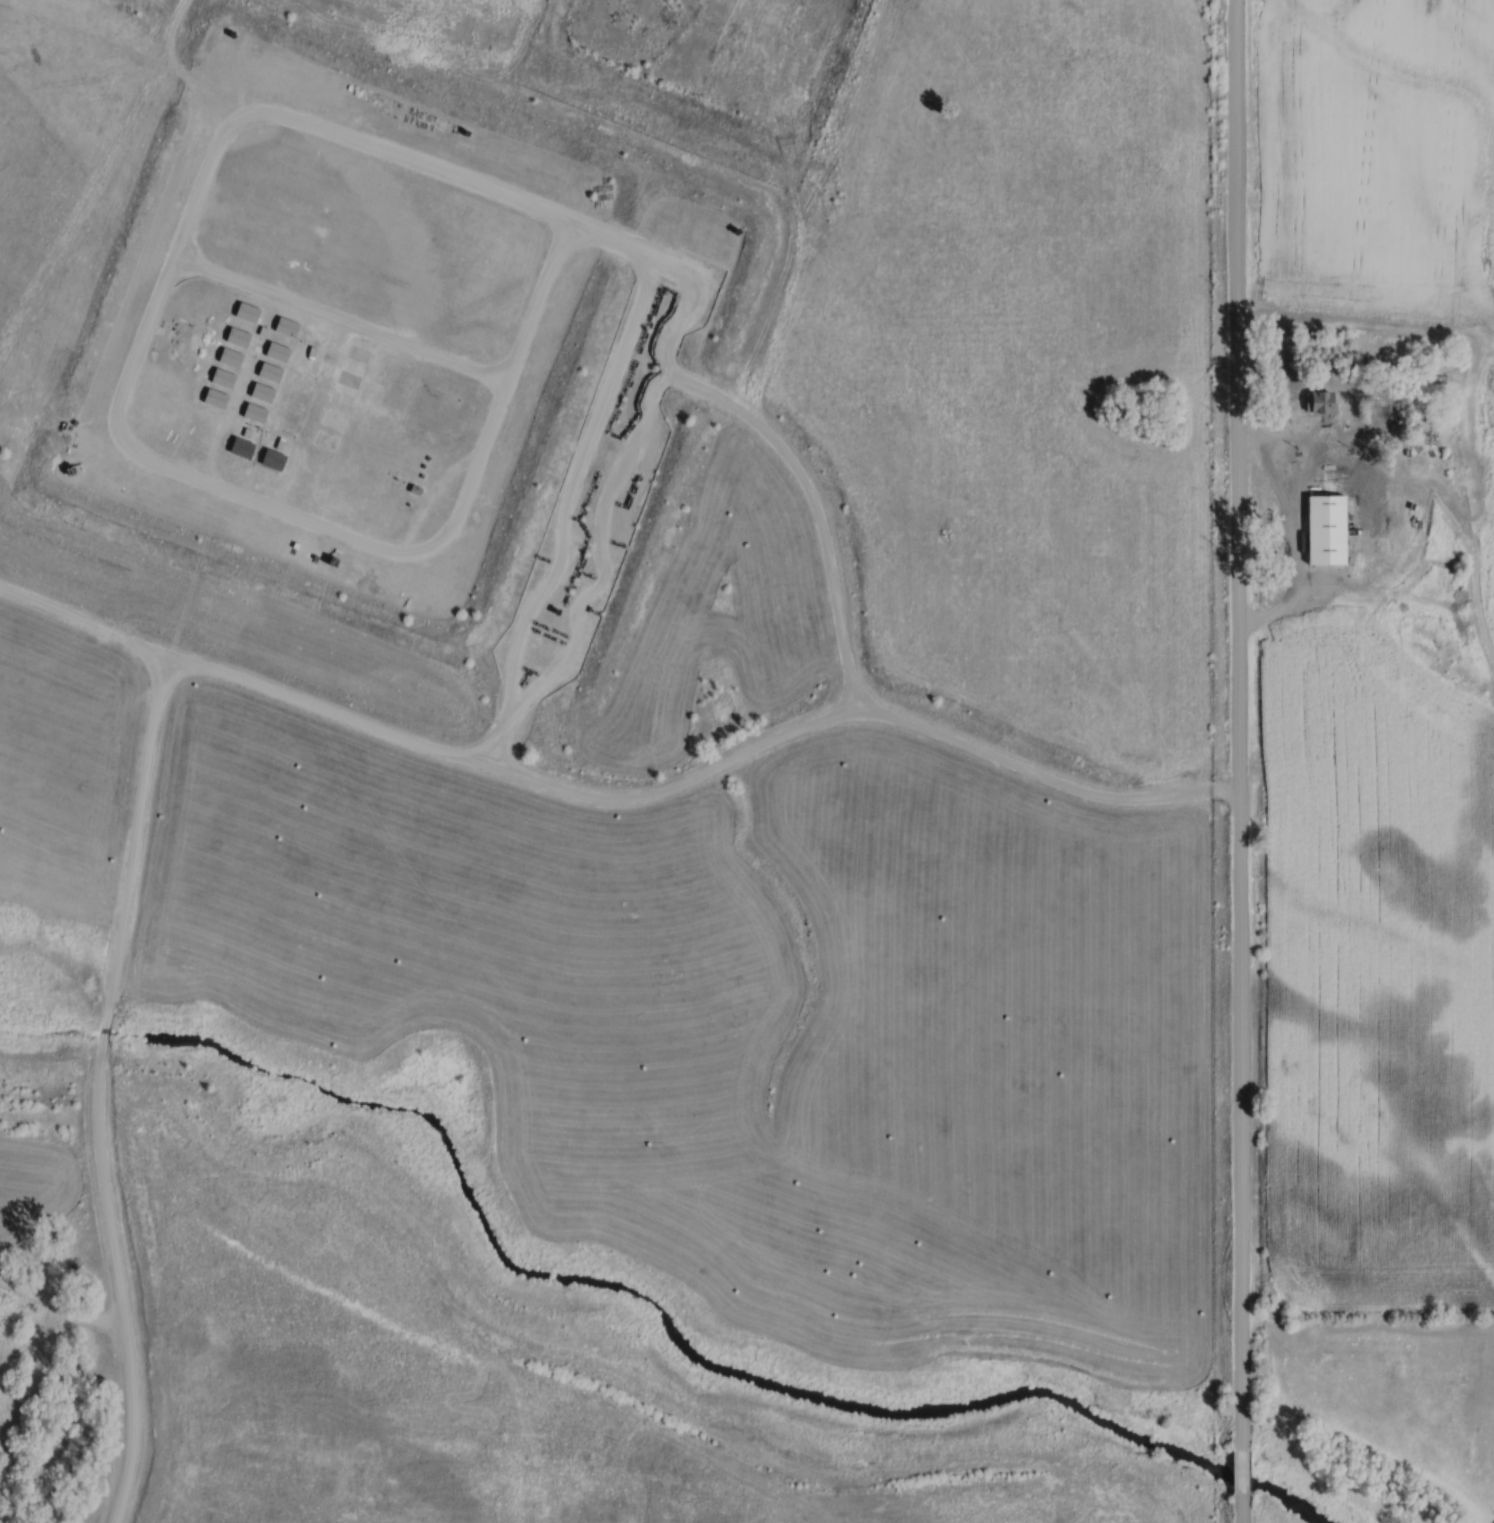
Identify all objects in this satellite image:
road: (220, 130)
road: (340, 313)
building: (360, 353)
building: (395, 387)
building: (440, 393)
building: (1325, 399)
building: (430, 421)
road: (1247, 442)
road: (1307, 448)
road: (562, 508)
building: (1332, 528)
road: (1237, 721)
road: (618, 793)
road: (95, 1089)
river: (635, 1297)
road: (63, 1311)
road: (1245, 1469)
road: (1244, 1509)

